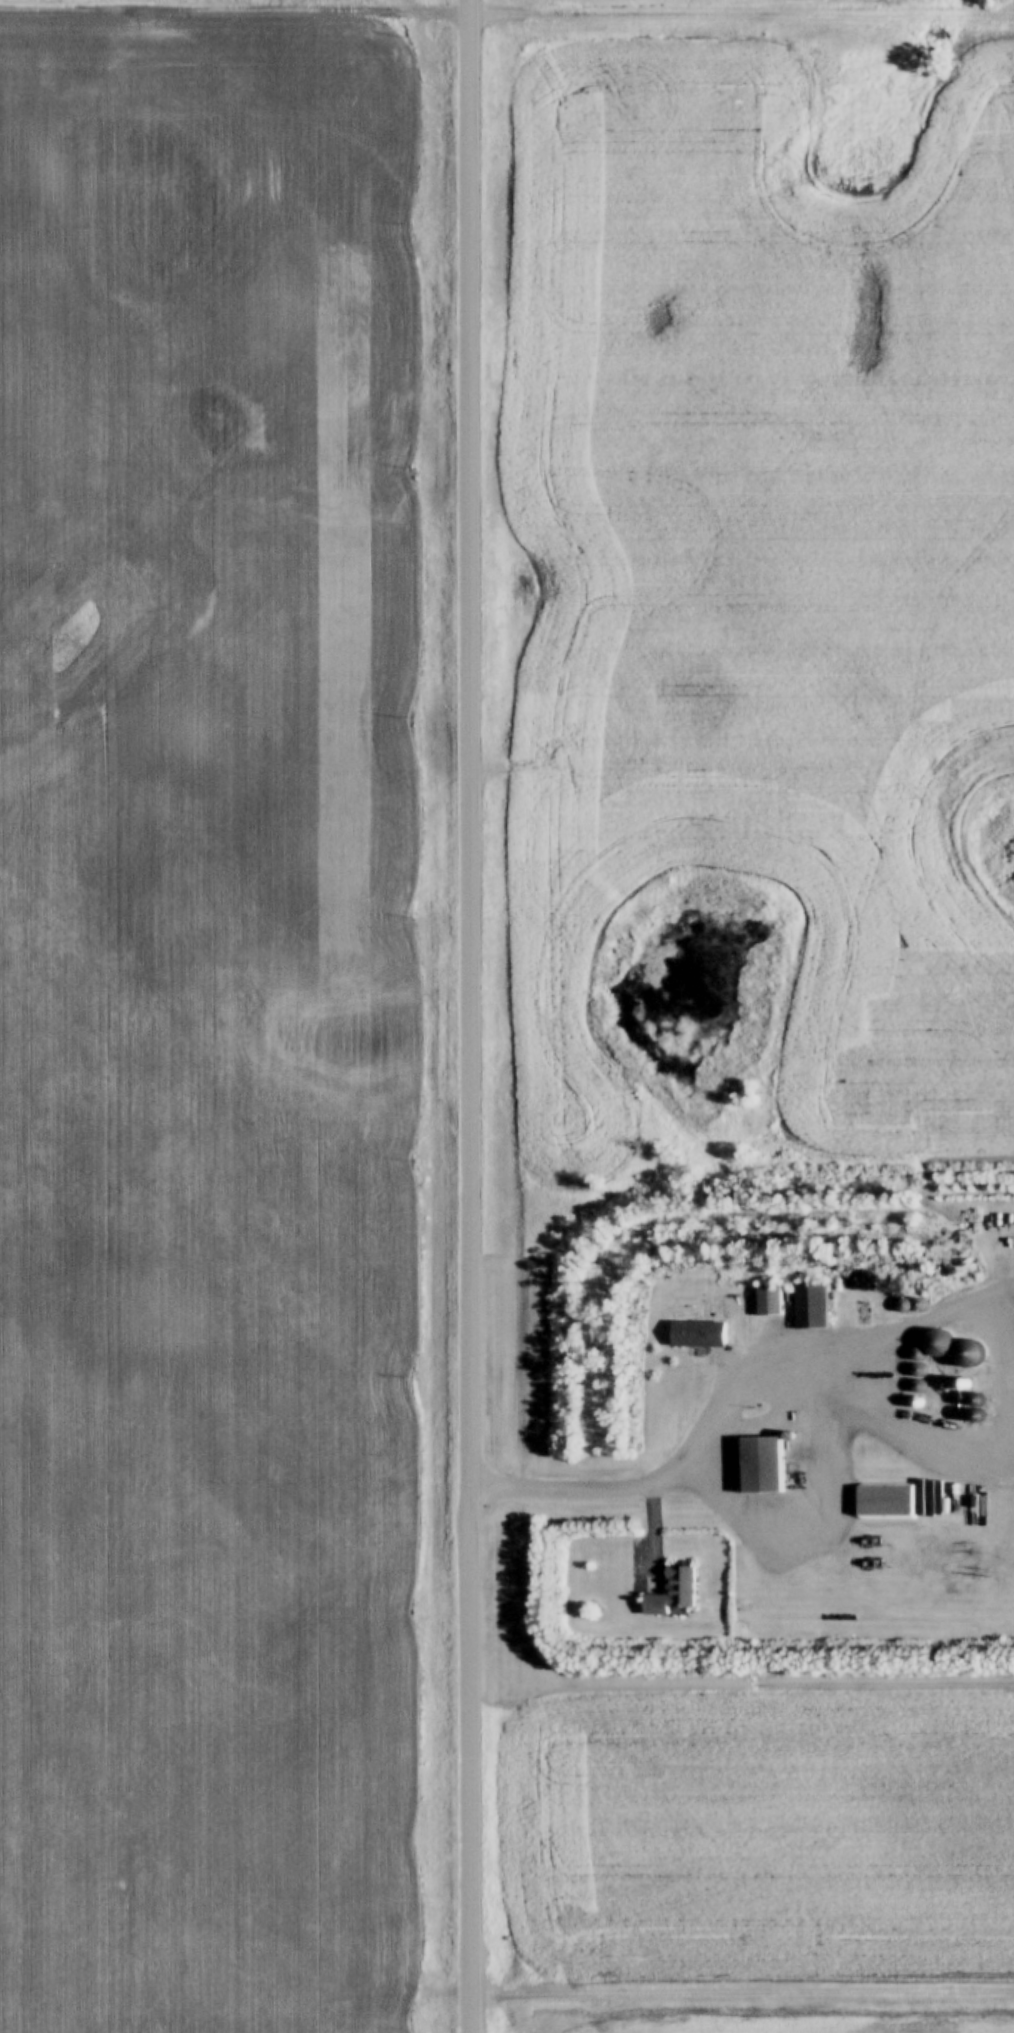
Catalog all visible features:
road: (506, 12)
road: (470, 1016)
building: (767, 1300)
building: (809, 1306)
building: (697, 1335)
road: (768, 1374)
road: (1008, 1374)
building: (759, 1466)
building: (873, 1504)
building: (672, 1594)
road: (743, 1989)

